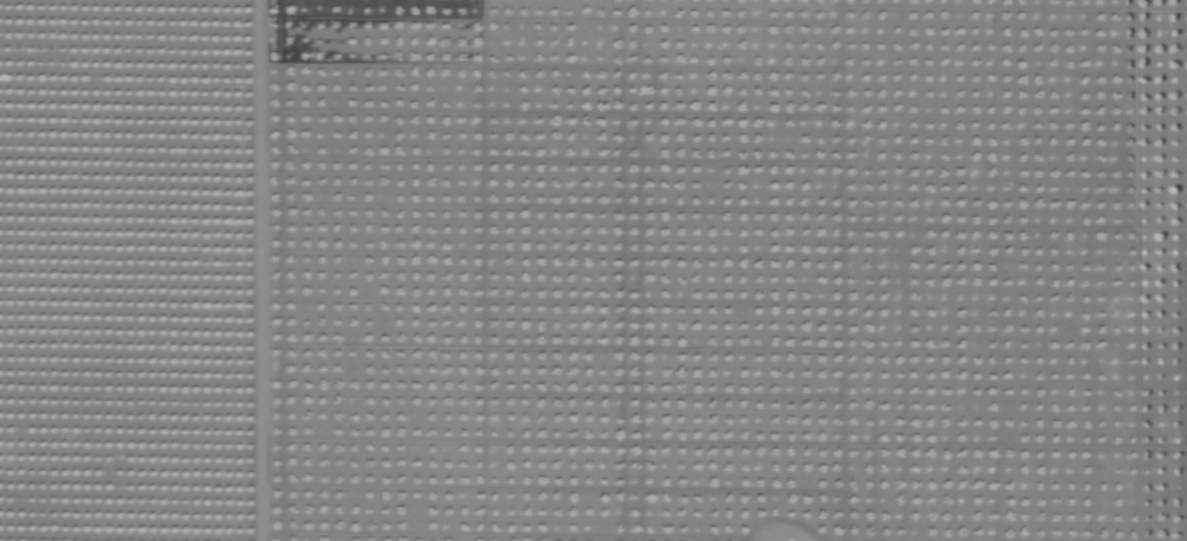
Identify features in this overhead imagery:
road: (256, 269)

